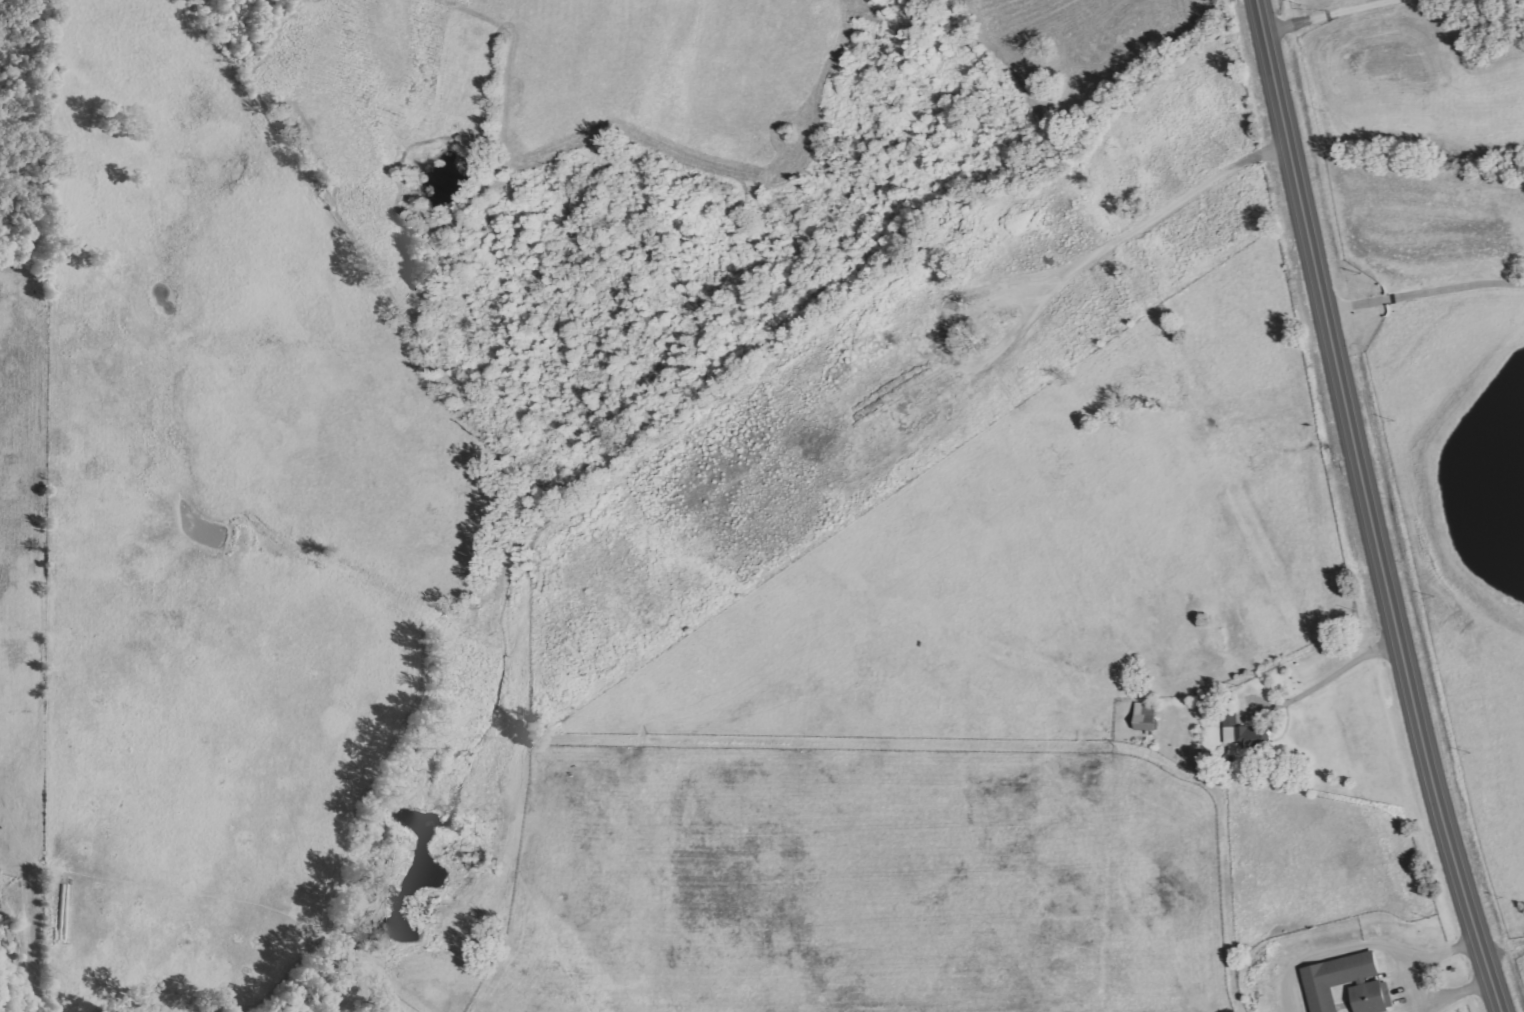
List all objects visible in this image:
road: (1378, 508)
building: (1251, 737)
road: (1488, 815)
building: (1346, 984)

